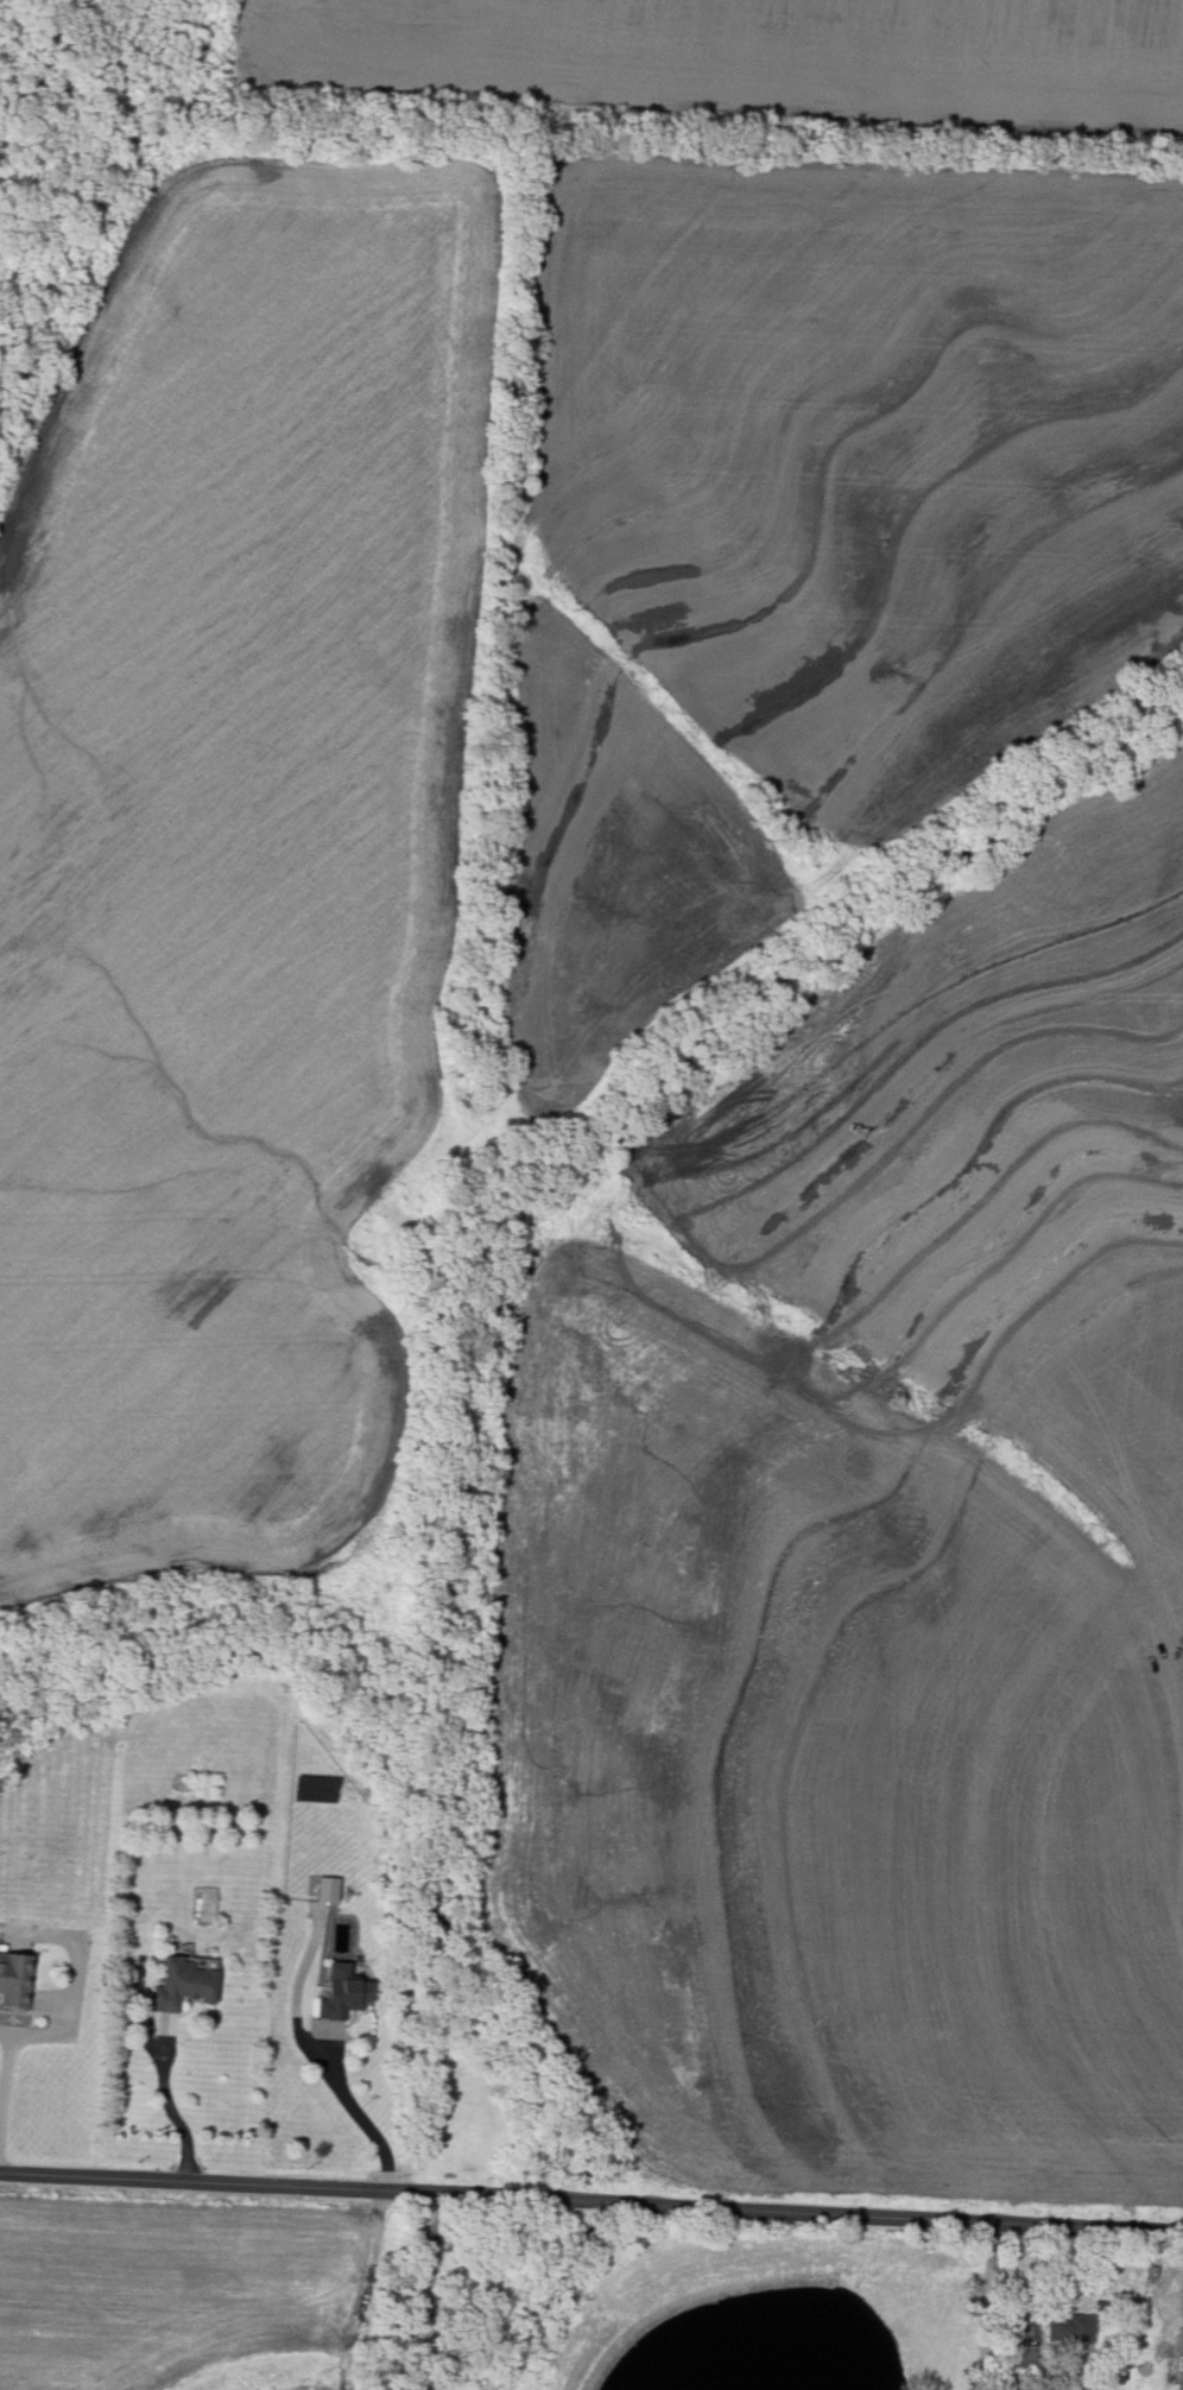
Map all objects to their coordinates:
crop: (726, 61)
crop: (816, 558)
crop: (236, 864)
crop: (875, 1573)
building: (327, 1889)
building: (14, 1979)
building: (183, 1984)
building: (341, 1993)
road: (10, 2043)
road: (170, 2110)
road: (358, 2114)
road: (591, 2196)
road: (1005, 2278)
crop: (181, 2289)
crop: (1145, 2315)
building: (1068, 2327)

